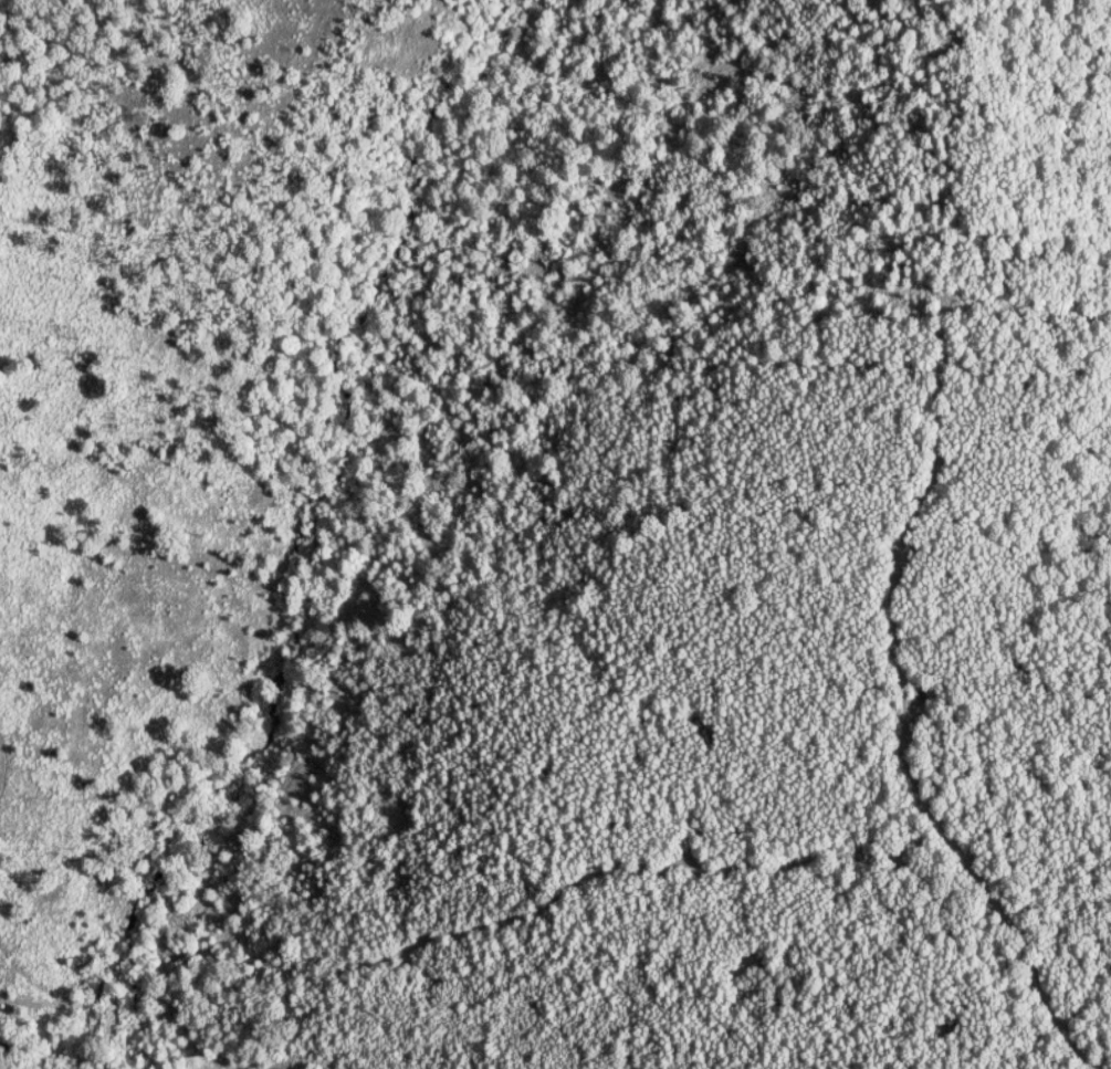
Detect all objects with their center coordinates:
road: (598, 885)

